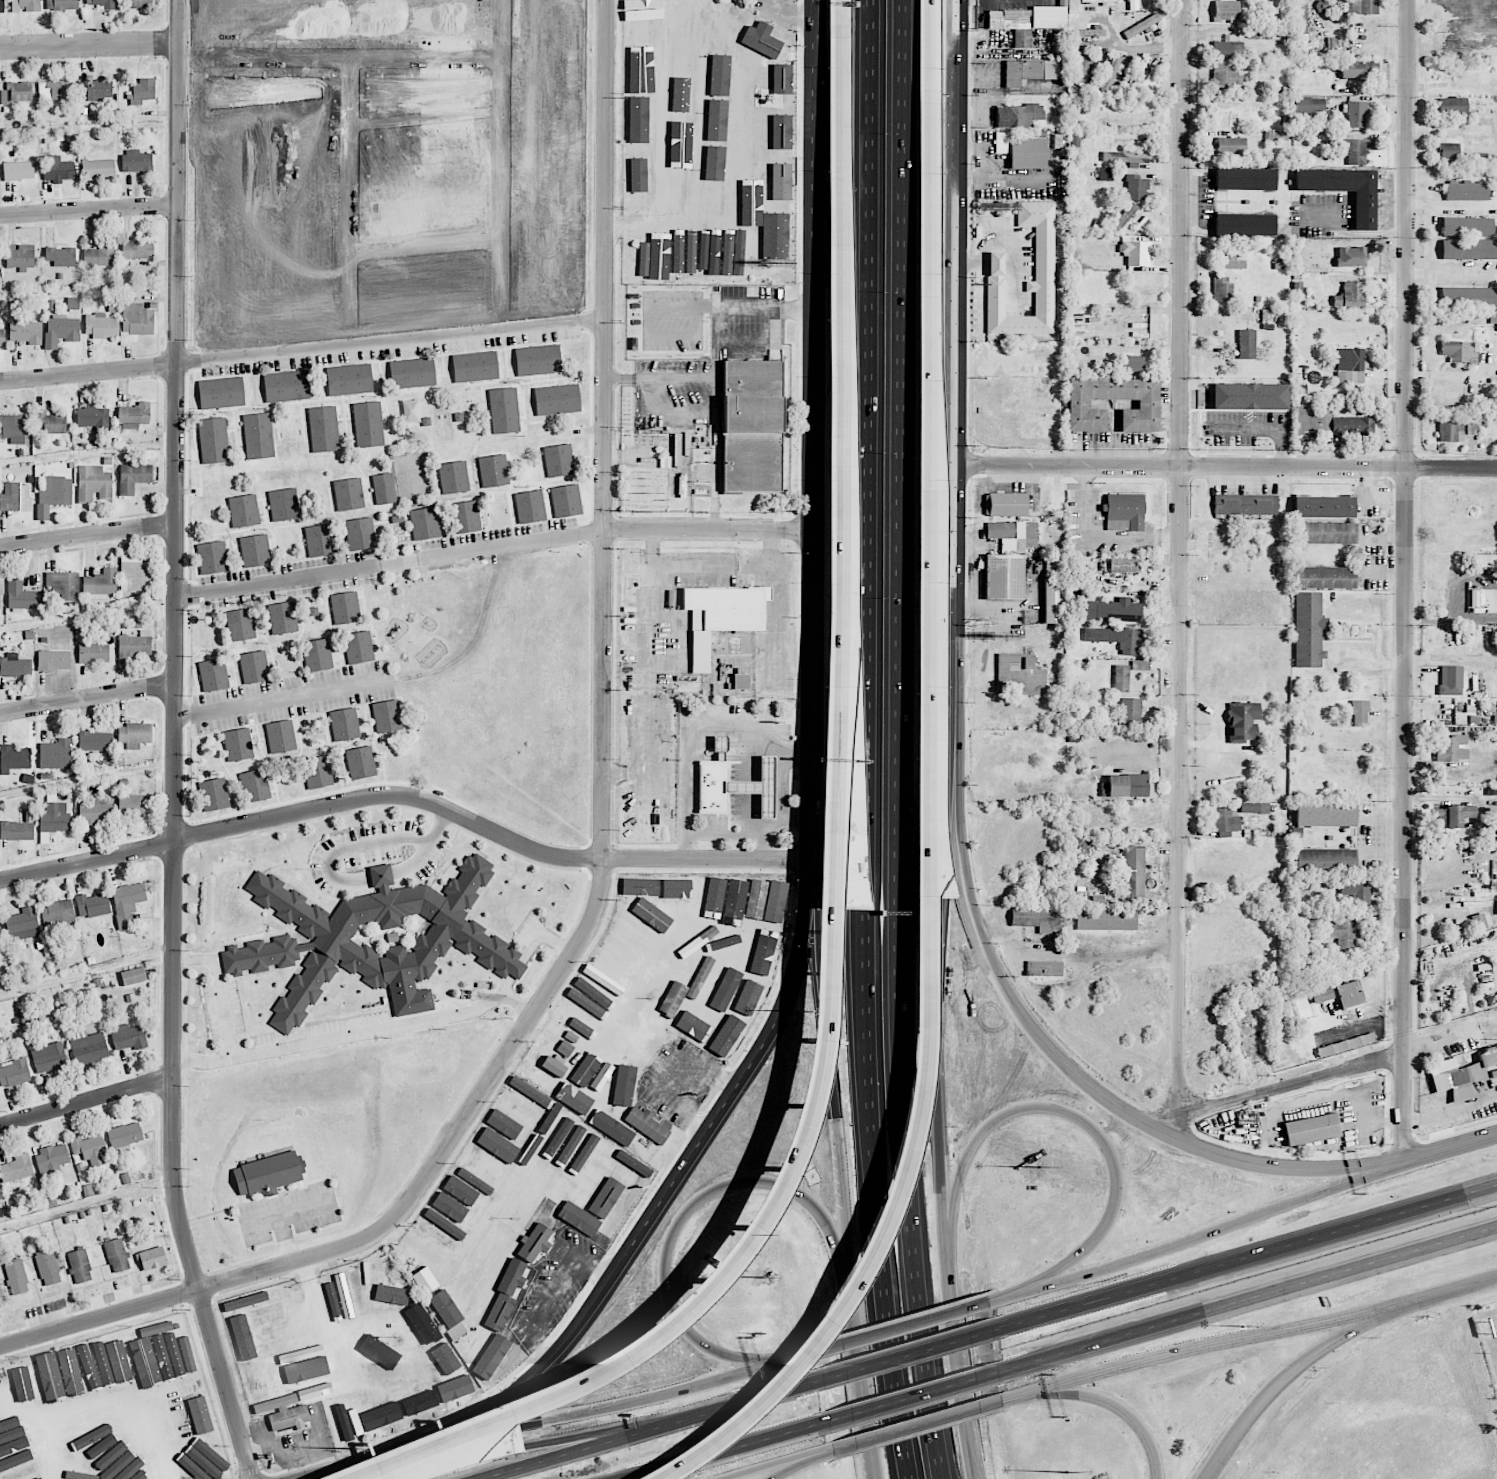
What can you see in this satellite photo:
building: (1099, 1)
building: (1155, 3)
building: (61, 4)
building: (139, 4)
building: (25, 5)
building: (1, 6)
building: (1361, 6)
building: (645, 7)
building: (1226, 10)
road: (840, 17)
building: (1048, 18)
building: (1013, 25)
building: (1142, 26)
building: (1301, 26)
building: (1088, 32)
building: (766, 41)
road: (89, 42)
building: (639, 43)
road: (930, 51)
road: (821, 66)
building: (703, 67)
building: (1081, 68)
building: (1140, 69)
building: (1359, 69)
building: (1030, 71)
building: (1111, 72)
building: (716, 76)
building: (1226, 77)
building: (782, 87)
building: (57, 89)
building: (99, 89)
building: (639, 90)
building: (20, 91)
building: (141, 91)
building: (749, 97)
building: (681, 103)
building: (1309, 105)
building: (1452, 106)
building: (701, 114)
building: (1356, 114)
building: (1017, 115)
building: (716, 120)
building: (637, 129)
building: (781, 132)
building: (1231, 145)
building: (678, 148)
building: (765, 149)
building: (1022, 151)
building: (1356, 151)
building: (1449, 151)
building: (1125, 157)
building: (136, 161)
building: (98, 168)
building: (57, 169)
building: (18, 170)
building: (636, 171)
building: (1106, 174)
building: (1245, 179)
building: (781, 182)
building: (754, 185)
building: (1136, 187)
building: (1466, 191)
road: (88, 208)
building: (1364, 209)
building: (737, 215)
building: (1124, 217)
building: (1244, 224)
building: (1467, 226)
road: (1351, 232)
building: (776, 236)
building: (1469, 249)
building: (137, 250)
building: (669, 251)
building: (691, 251)
building: (1135, 252)
building: (705, 253)
building: (728, 253)
building: (749, 253)
building: (20, 255)
building: (99, 255)
road: (801, 255)
building: (61, 256)
building: (1351, 256)
building: (644, 259)
building: (1232, 262)
building: (995, 266)
road: (1452, 272)
building: (1221, 288)
building: (1350, 295)
building: (1468, 297)
building: (73, 303)
road: (718, 308)
road: (874, 308)
building: (1493, 316)
building: (135, 322)
building: (101, 326)
building: (60, 330)
building: (26, 332)
building: (2, 338)
road: (761, 342)
building: (1246, 344)
road: (303, 350)
building: (1459, 351)
building: (537, 359)
building: (1131, 363)
building: (475, 366)
building: (1349, 366)
building: (412, 372)
road: (844, 374)
road: (664, 378)
building: (348, 379)
road: (625, 379)
building: (285, 385)
building: (221, 392)
building: (1249, 396)
building: (556, 399)
building: (1148, 404)
road: (954, 408)
building: (503, 410)
road: (680, 411)
building: (134, 416)
building: (94, 419)
building: (50, 422)
building: (368, 424)
building: (1331, 424)
building: (751, 425)
building: (13, 428)
building: (323, 428)
building: (1450, 431)
building: (258, 435)
building: (213, 439)
building: (558, 458)
road: (1225, 467)
building: (494, 470)
building: (133, 477)
building: (453, 477)
building: (93, 483)
building: (838, 483)
building: (930, 484)
building: (384, 488)
building: (348, 493)
building: (53, 495)
building: (15, 497)
road: (719, 497)
building: (565, 500)
building: (281, 503)
building: (1245, 504)
building: (1006, 505)
building: (529, 506)
building: (1323, 506)
road: (820, 507)
building: (243, 510)
building: (1124, 512)
building: (467, 517)
building: (424, 523)
building: (1325, 532)
building: (360, 533)
road: (88, 534)
building: (318, 540)
road: (496, 546)
road: (653, 548)
building: (255, 550)
building: (211, 556)
road: (1181, 557)
building: (1483, 561)
building: (1124, 565)
road: (666, 566)
building: (134, 572)
building: (1324, 577)
building: (1005, 578)
road: (1406, 580)
building: (101, 582)
building: (63, 585)
building: (21, 595)
building: (0, 596)
building: (1477, 598)
building: (1053, 600)
building: (344, 607)
building: (1113, 610)
building: (721, 615)
building: (282, 617)
road: (778, 623)
building: (239, 624)
building: (1309, 629)
building: (1130, 641)
road: (174, 646)
building: (359, 647)
building: (133, 648)
building: (93, 653)
building: (317, 655)
building: (53, 660)
building: (1140, 665)
building: (14, 666)
building: (253, 667)
building: (1020, 673)
building: (212, 676)
building: (1121, 678)
building: (1450, 680)
road: (86, 698)
road: (279, 699)
building: (1130, 710)
building: (1359, 711)
building: (1496, 714)
building: (386, 715)
building: (1243, 721)
building: (344, 724)
road: (687, 727)
building: (134, 734)
building: (280, 736)
road: (900, 740)
building: (95, 741)
building: (238, 744)
road: (603, 744)
building: (719, 748)
building: (1451, 748)
road: (642, 753)
building: (55, 754)
building: (13, 758)
building: (360, 762)
building: (317, 771)
building: (1127, 784)
building: (255, 785)
building: (757, 785)
gas station: (757, 785)
building: (712, 786)
road: (782, 792)
building: (214, 793)
road: (410, 796)
building: (134, 804)
building: (1254, 807)
building: (95, 812)
building: (54, 815)
building: (1324, 815)
building: (1453, 815)
road: (1382, 818)
road: (800, 819)
building: (1490, 826)
building: (18, 828)
building: (1496, 834)
road: (713, 836)
road: (926, 839)
road: (351, 847)
road: (426, 847)
road: (1382, 855)
building: (1324, 859)
road: (838, 872)
building: (1133, 872)
road: (381, 875)
building: (636, 886)
building: (677, 888)
building: (1356, 890)
building: (712, 895)
building: (774, 897)
building: (744, 898)
building: (126, 903)
building: (92, 905)
building: (57, 913)
building: (717, 915)
building: (1031, 917)
building: (645, 918)
building: (1106, 919)
building: (1478, 921)
building: (22, 924)
building: (1341, 932)
building: (0, 933)
building: (363, 938)
building: (627, 939)
building: (766, 948)
road: (531, 949)
road: (1105, 955)
building: (1044, 968)
building: (133, 976)
building: (602, 981)
road: (220, 989)
building: (1350, 994)
building: (1321, 995)
building: (749, 996)
building: (590, 1003)
building: (671, 1003)
building: (691, 1013)
building: (577, 1016)
road: (359, 1034)
building: (727, 1036)
building: (127, 1037)
road: (767, 1045)
building: (88, 1047)
building: (565, 1048)
road: (870, 1048)
building: (49, 1057)
building: (550, 1068)
road: (1334, 1071)
building: (14, 1072)
building: (1493, 1073)
building: (1462, 1074)
road: (831, 1078)
building: (625, 1086)
road: (1098, 1095)
building: (574, 1098)
road: (86, 1099)
building: (514, 1112)
building: (503, 1123)
road: (1083, 1123)
building: (646, 1124)
building: (610, 1126)
road: (1173, 1126)
building: (1311, 1129)
building: (124, 1135)
building: (570, 1143)
building: (497, 1145)
road: (1451, 1148)
building: (90, 1149)
road: (941, 1149)
building: (51, 1159)
building: (490, 1165)
building: (16, 1168)
building: (268, 1174)
building: (474, 1181)
building: (554, 1194)
building: (468, 1196)
building: (606, 1197)
building: (454, 1210)
road: (686, 1214)
building: (497, 1215)
building: (575, 1219)
road: (654, 1221)
building: (434, 1233)
road: (1202, 1239)
building: (534, 1243)
building: (116, 1255)
road: (1245, 1255)
building: (152, 1258)
road: (486, 1258)
building: (79, 1266)
building: (47, 1268)
building: (16, 1277)
building: (425, 1280)
building: (376, 1288)
road: (552, 1291)
building: (358, 1293)
road: (1439, 1295)
building: (509, 1297)
road: (1248, 1297)
building: (627, 1312)
road: (99, 1318)
building: (155, 1328)
road: (906, 1328)
building: (456, 1331)
building: (243, 1344)
road: (1193, 1346)
building: (378, 1354)
building: (495, 1354)
road: (906, 1355)
building: (165, 1357)
road: (795, 1360)
building: (142, 1361)
building: (125, 1362)
building: (97, 1364)
building: (435, 1368)
building: (307, 1369)
building: (67, 1370)
road: (542, 1371)
road: (744, 1374)
building: (53, 1376)
road: (865, 1377)
building: (39, 1378)
building: (255, 1380)
road: (1281, 1382)
building: (28, 1384)
road: (226, 1384)
building: (439, 1395)
road: (915, 1399)
road: (130, 1400)
road: (1105, 1402)
building: (283, 1412)
building: (199, 1415)
building: (368, 1417)
road: (566, 1418)
road: (922, 1423)
road: (651, 1431)
building: (89, 1432)
building: (13, 1439)
building: (85, 1447)
road: (731, 1451)
road: (819, 1453)
building: (12, 1457)
building: (124, 1460)
road: (366, 1464)
road: (761, 1466)
road: (791, 1468)
building: (20, 1473)
building: (145, 1474)
building: (41, 1478)
building: (63, 1478)

